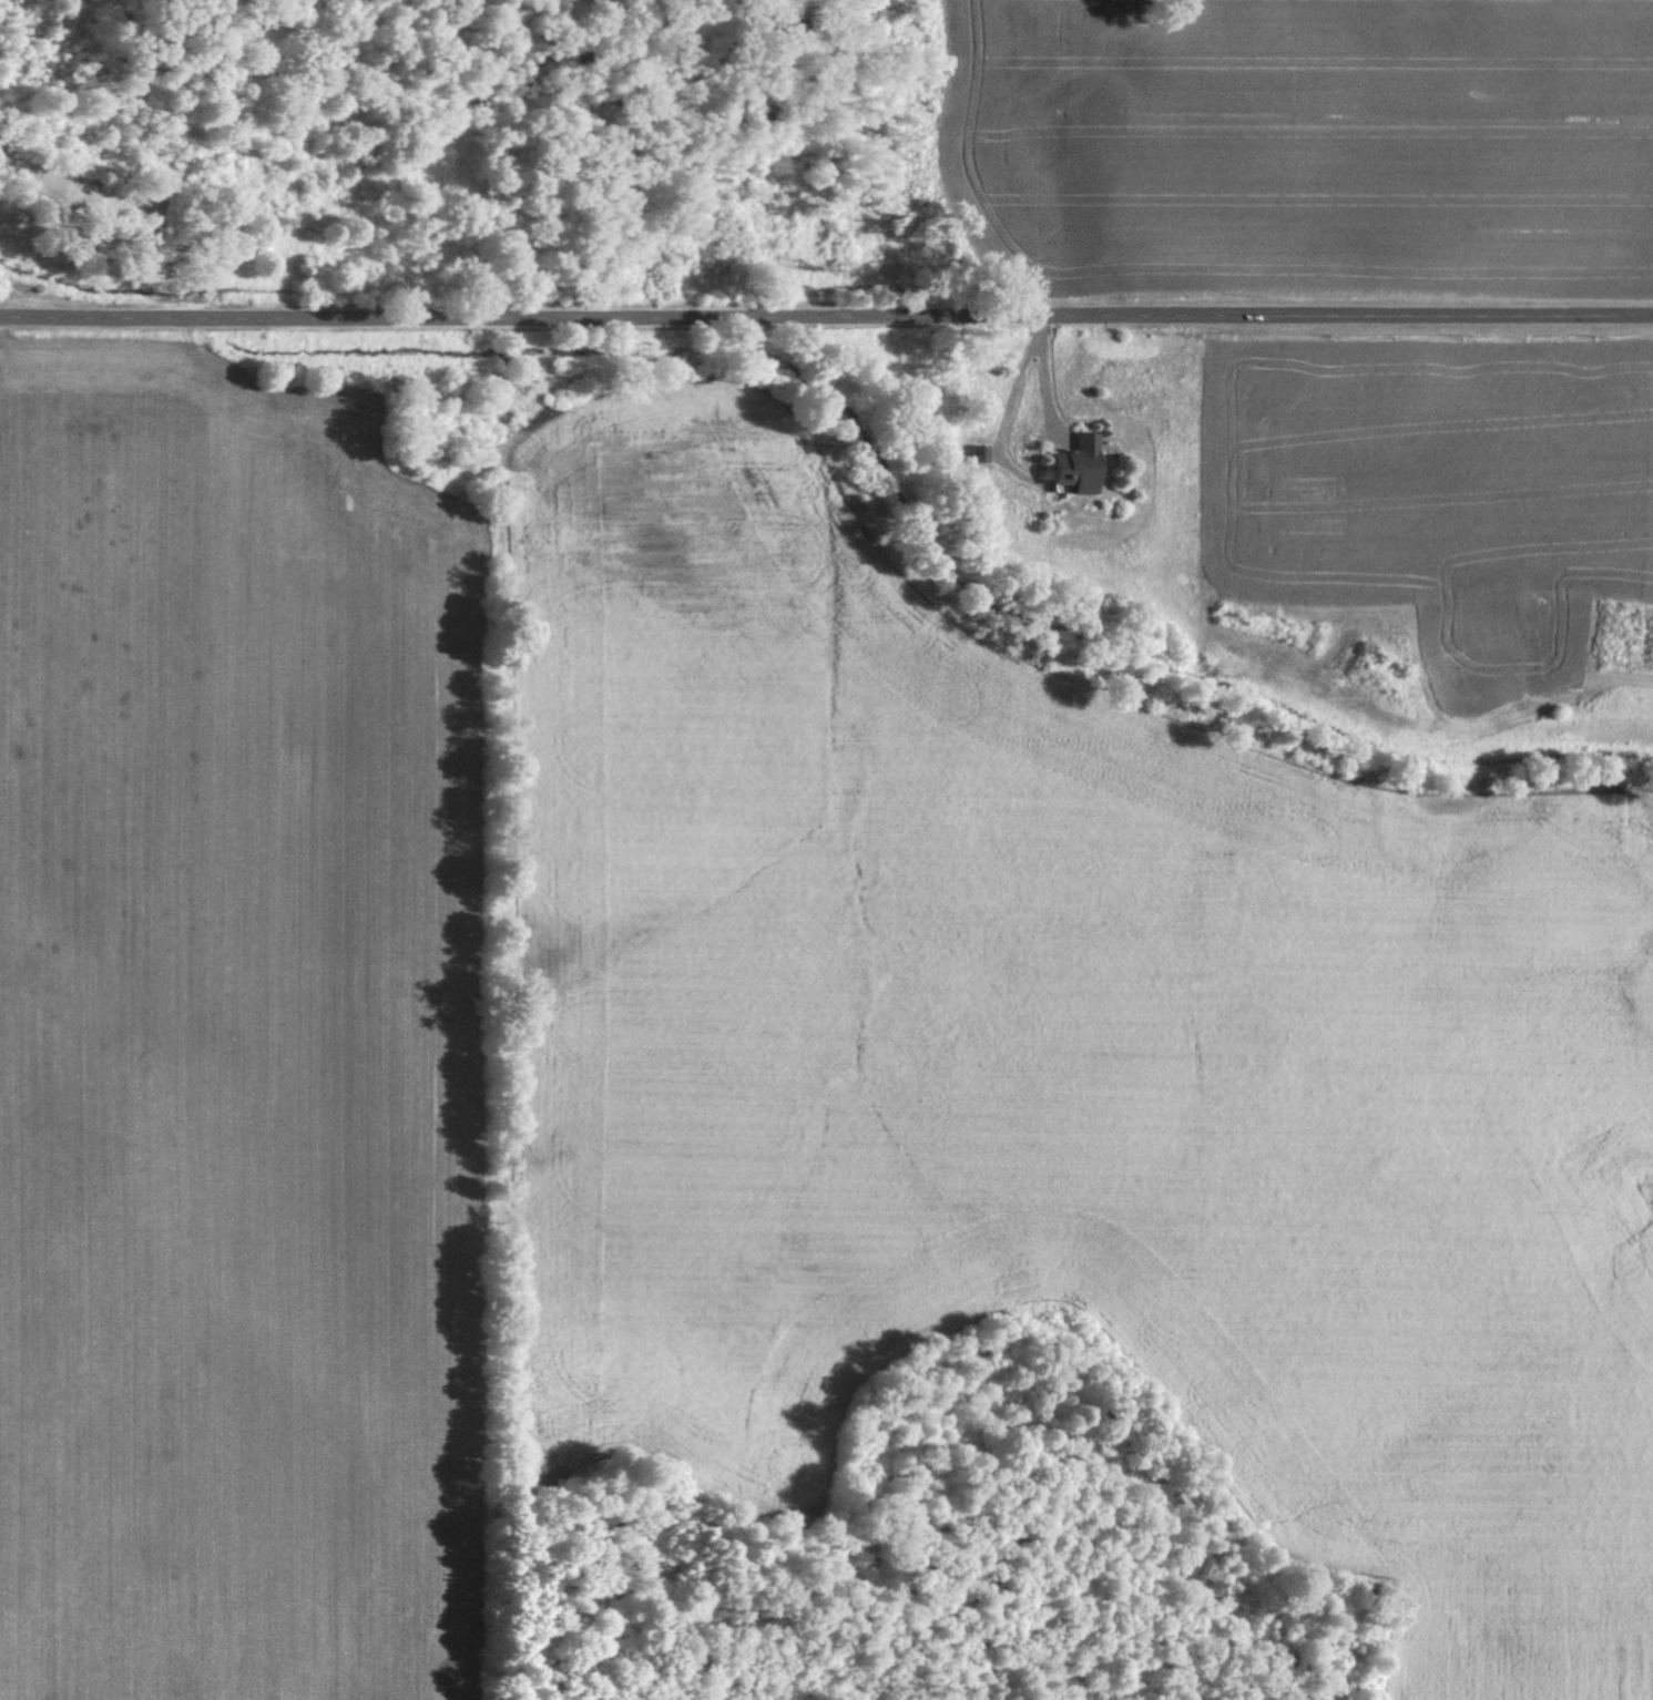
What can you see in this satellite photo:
road: (826, 316)
road: (1047, 375)
building: (977, 453)
building: (1069, 464)

